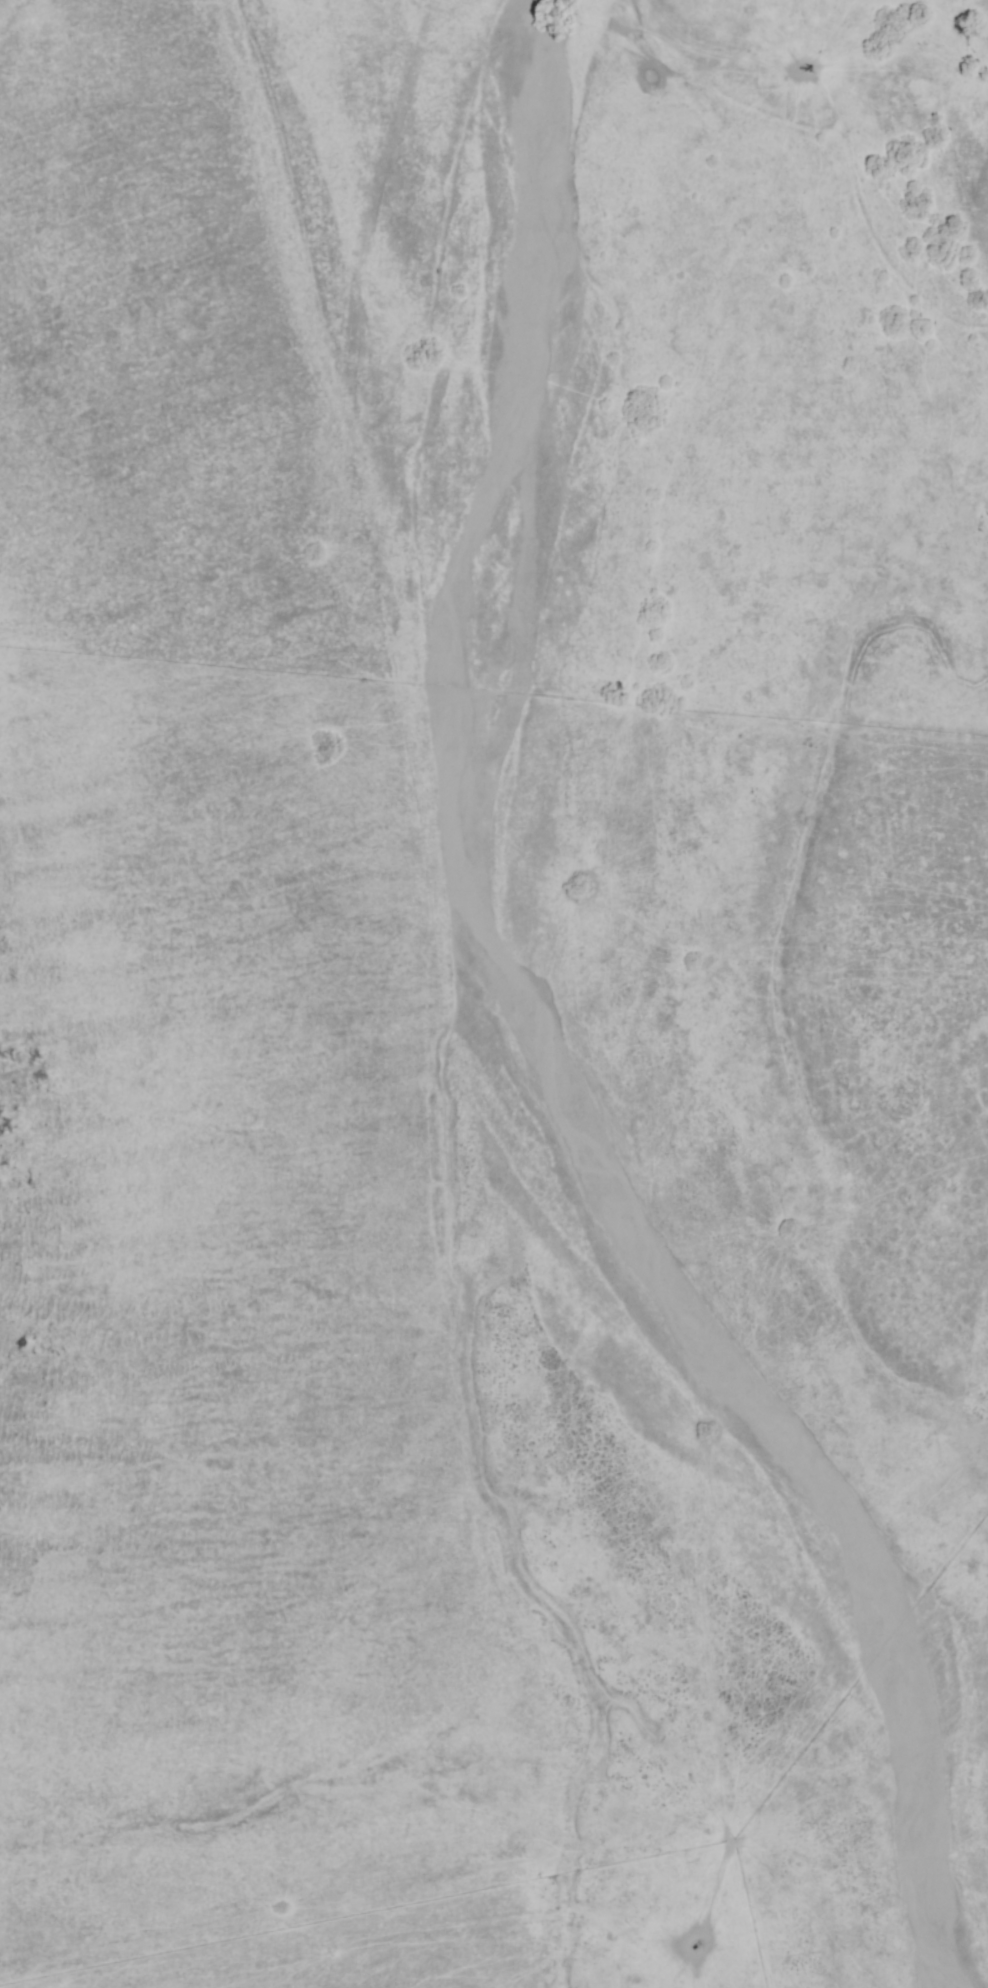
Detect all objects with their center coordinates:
crop: (690, 913)

